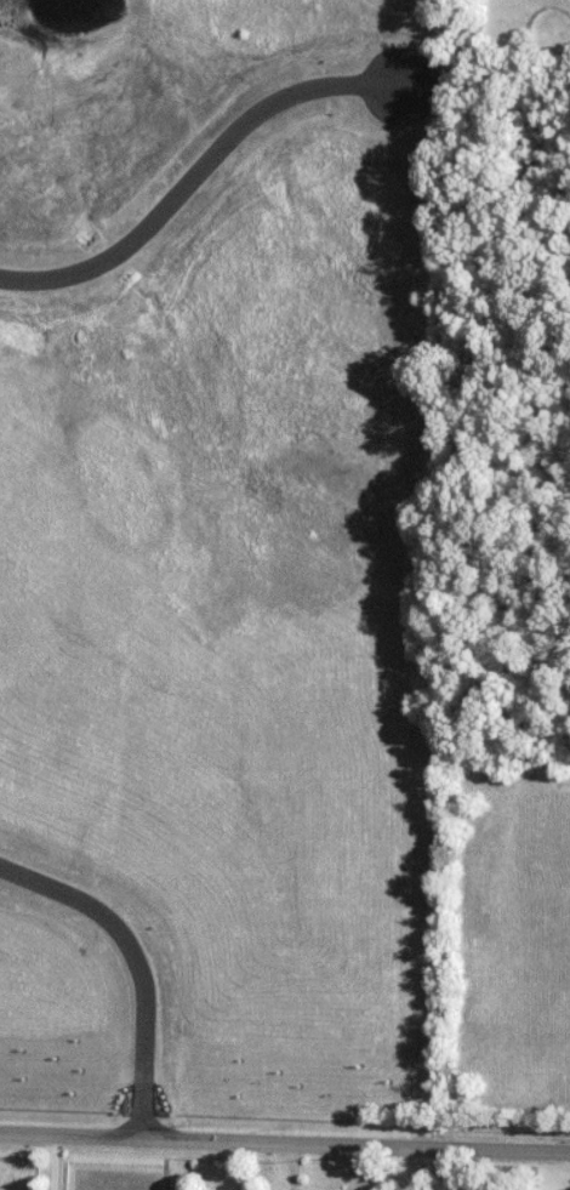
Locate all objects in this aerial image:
road: (285, 1144)
road: (58, 1163)
road: (298, 1167)

